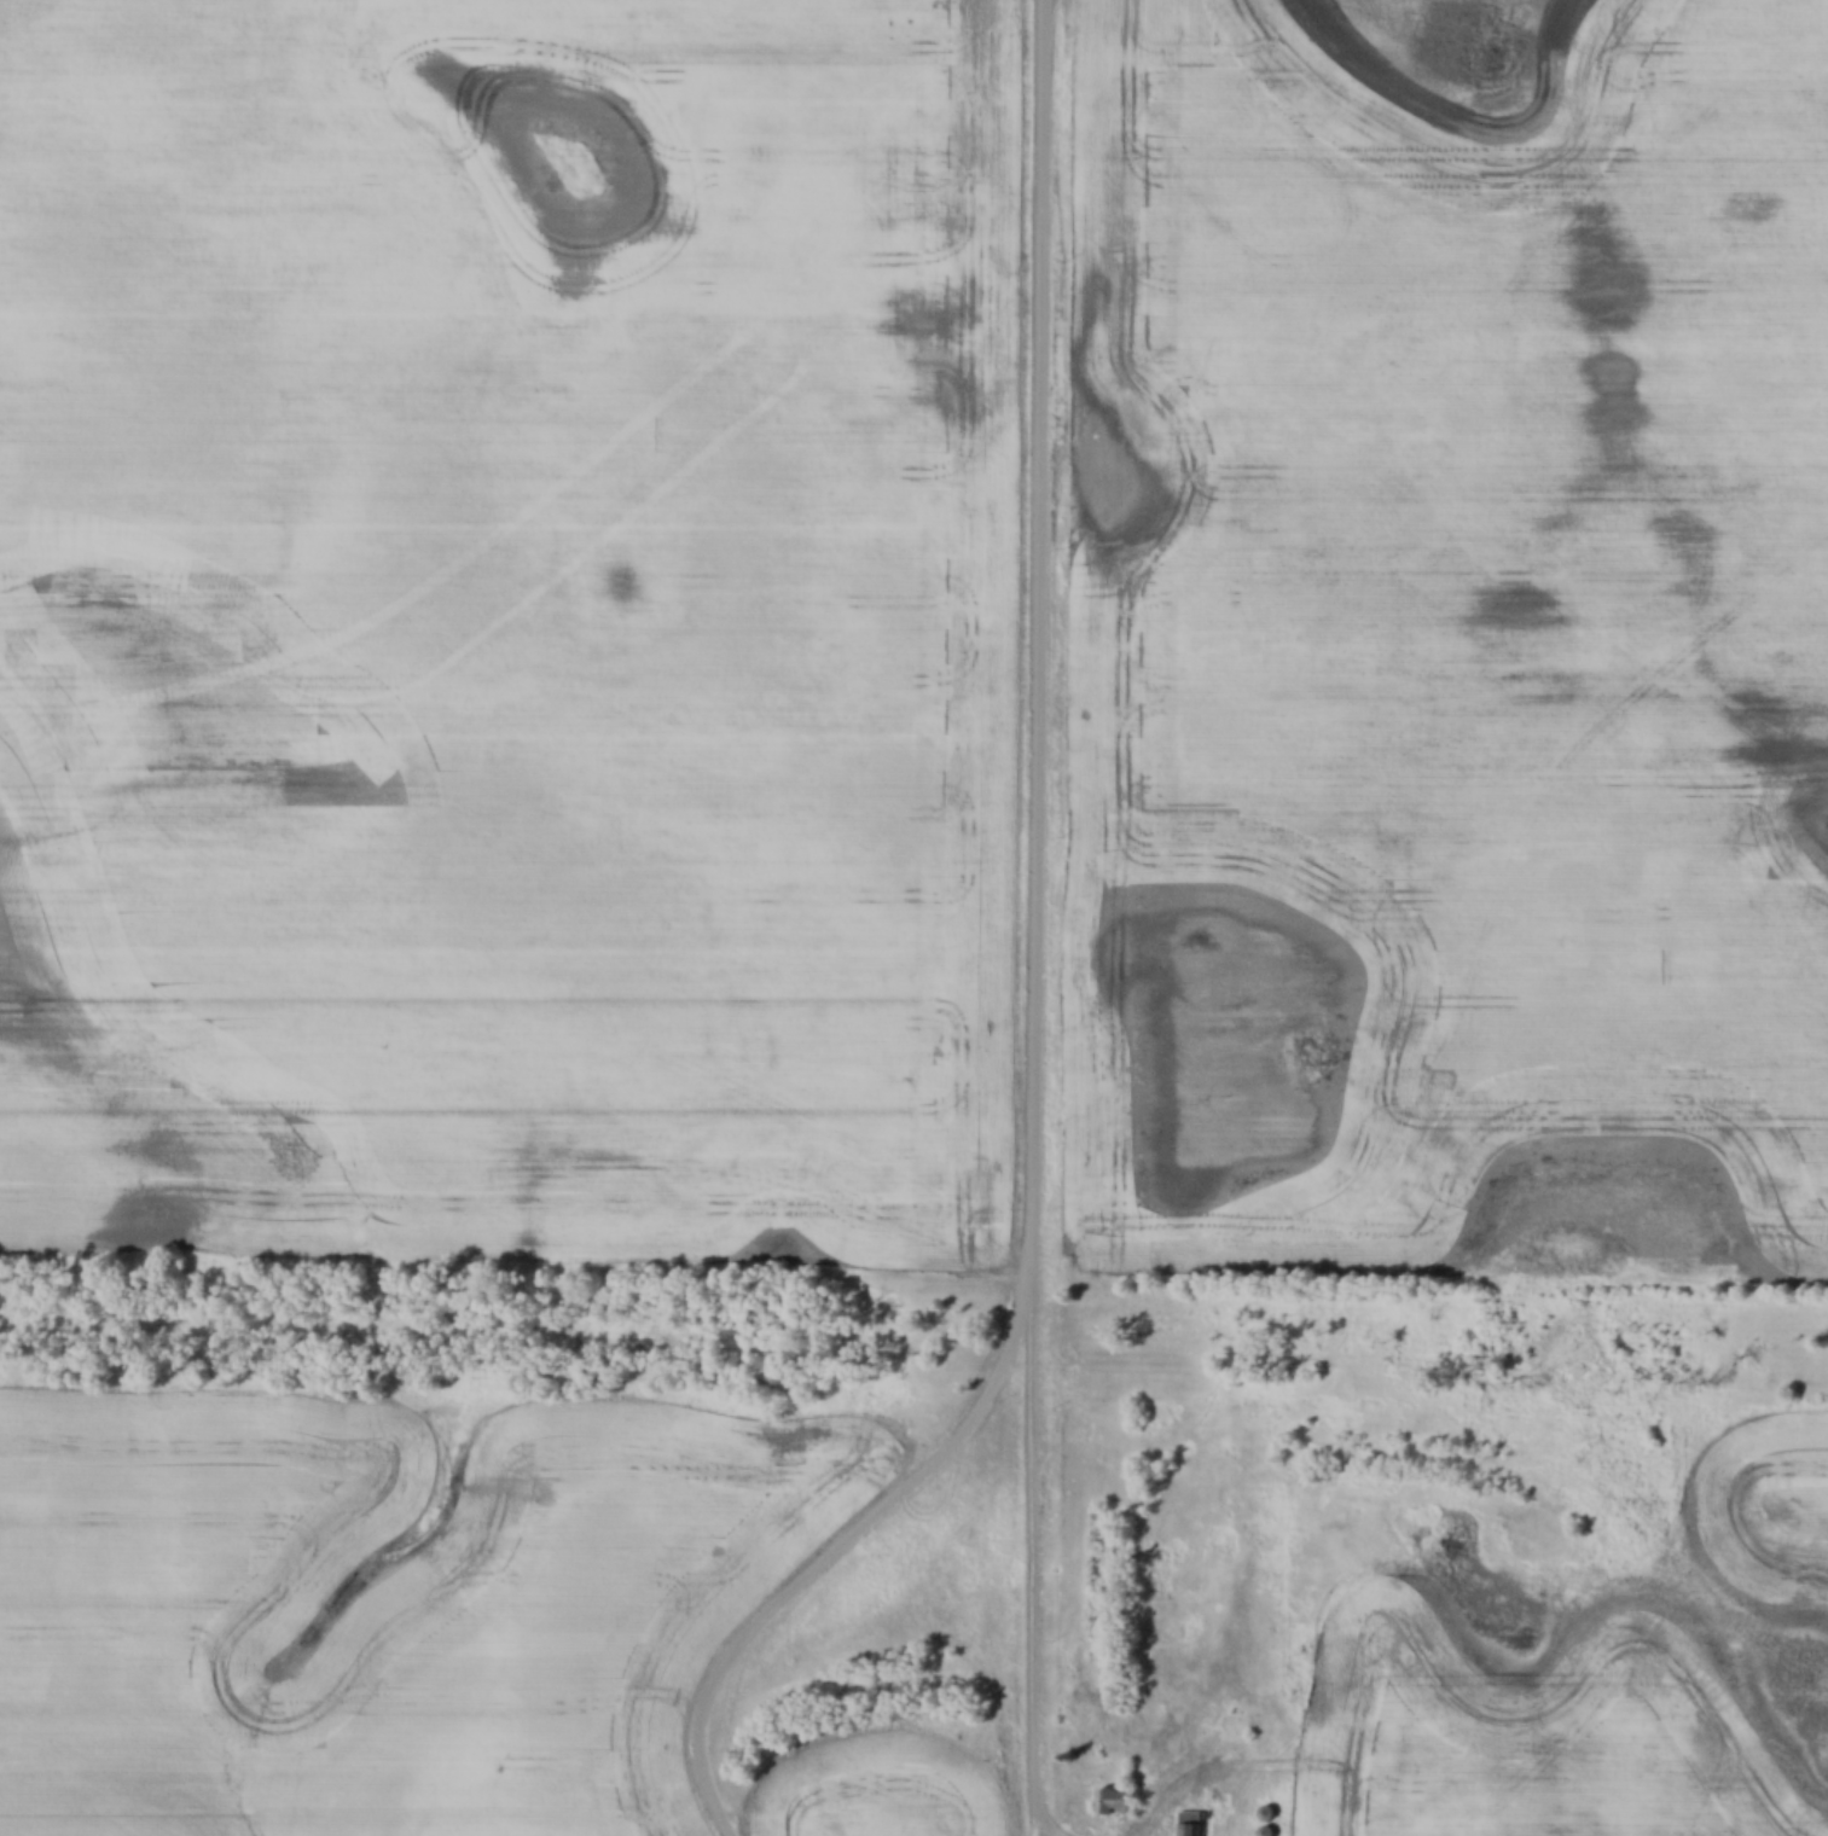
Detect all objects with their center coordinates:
road: (1026, 807)
building: (1112, 1802)
building: (1188, 1823)

